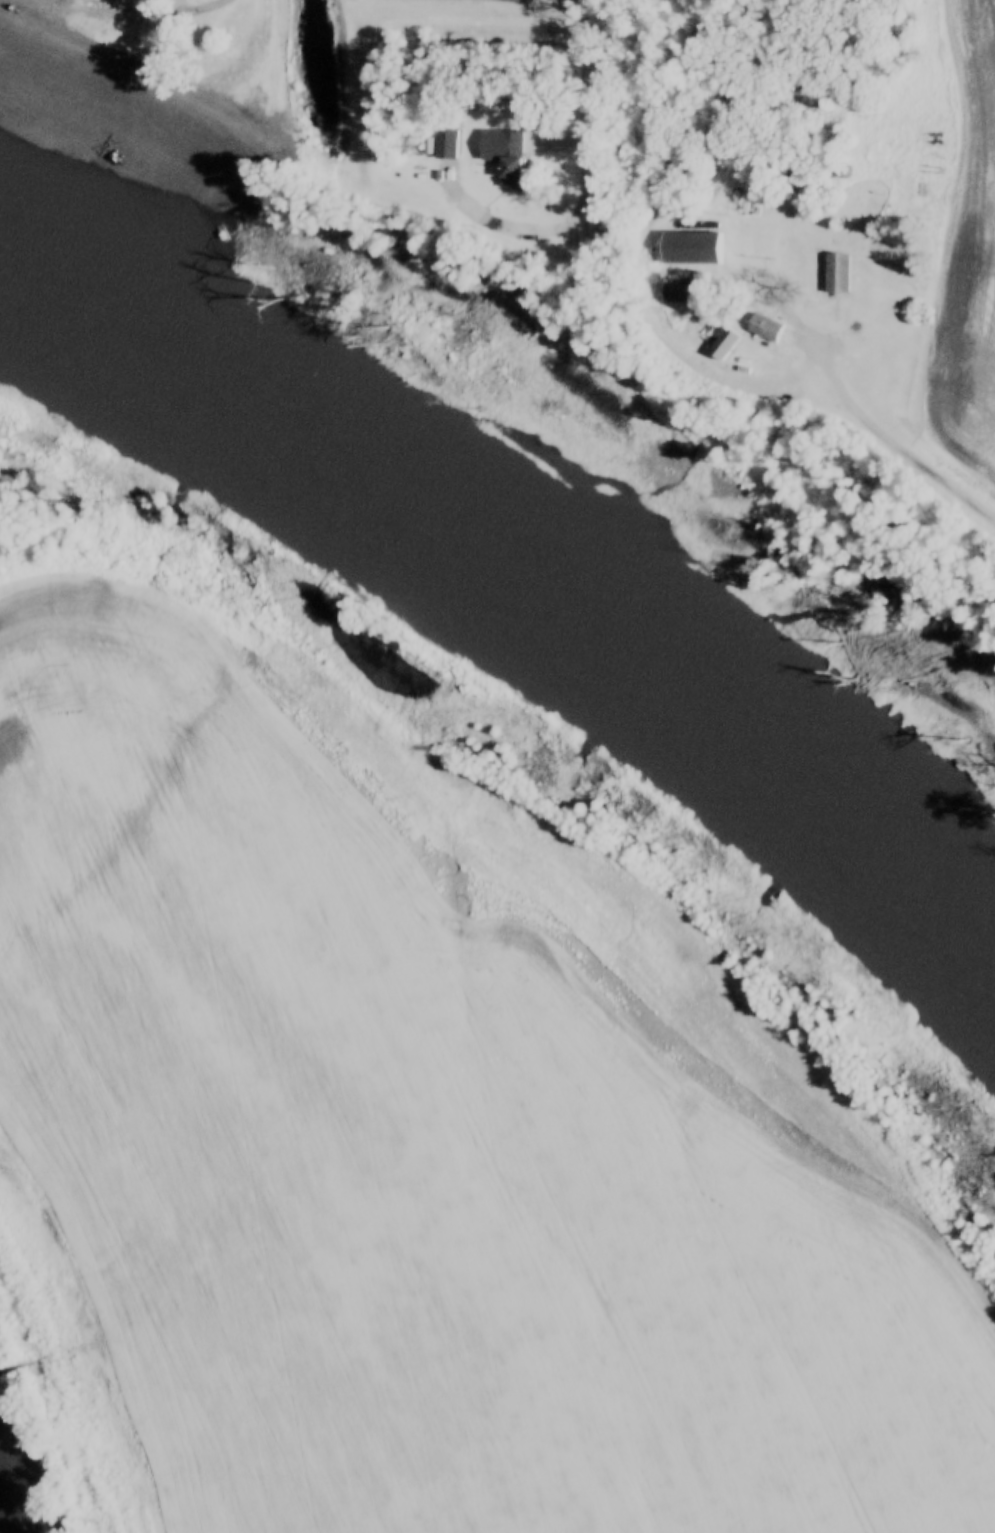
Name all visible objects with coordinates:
building: (37, 6)
road: (159, 9)
road: (551, 139)
building: (445, 142)
building: (510, 158)
road: (577, 189)
building: (690, 249)
building: (835, 273)
building: (764, 328)
building: (723, 344)
road: (880, 436)
river: (529, 599)

